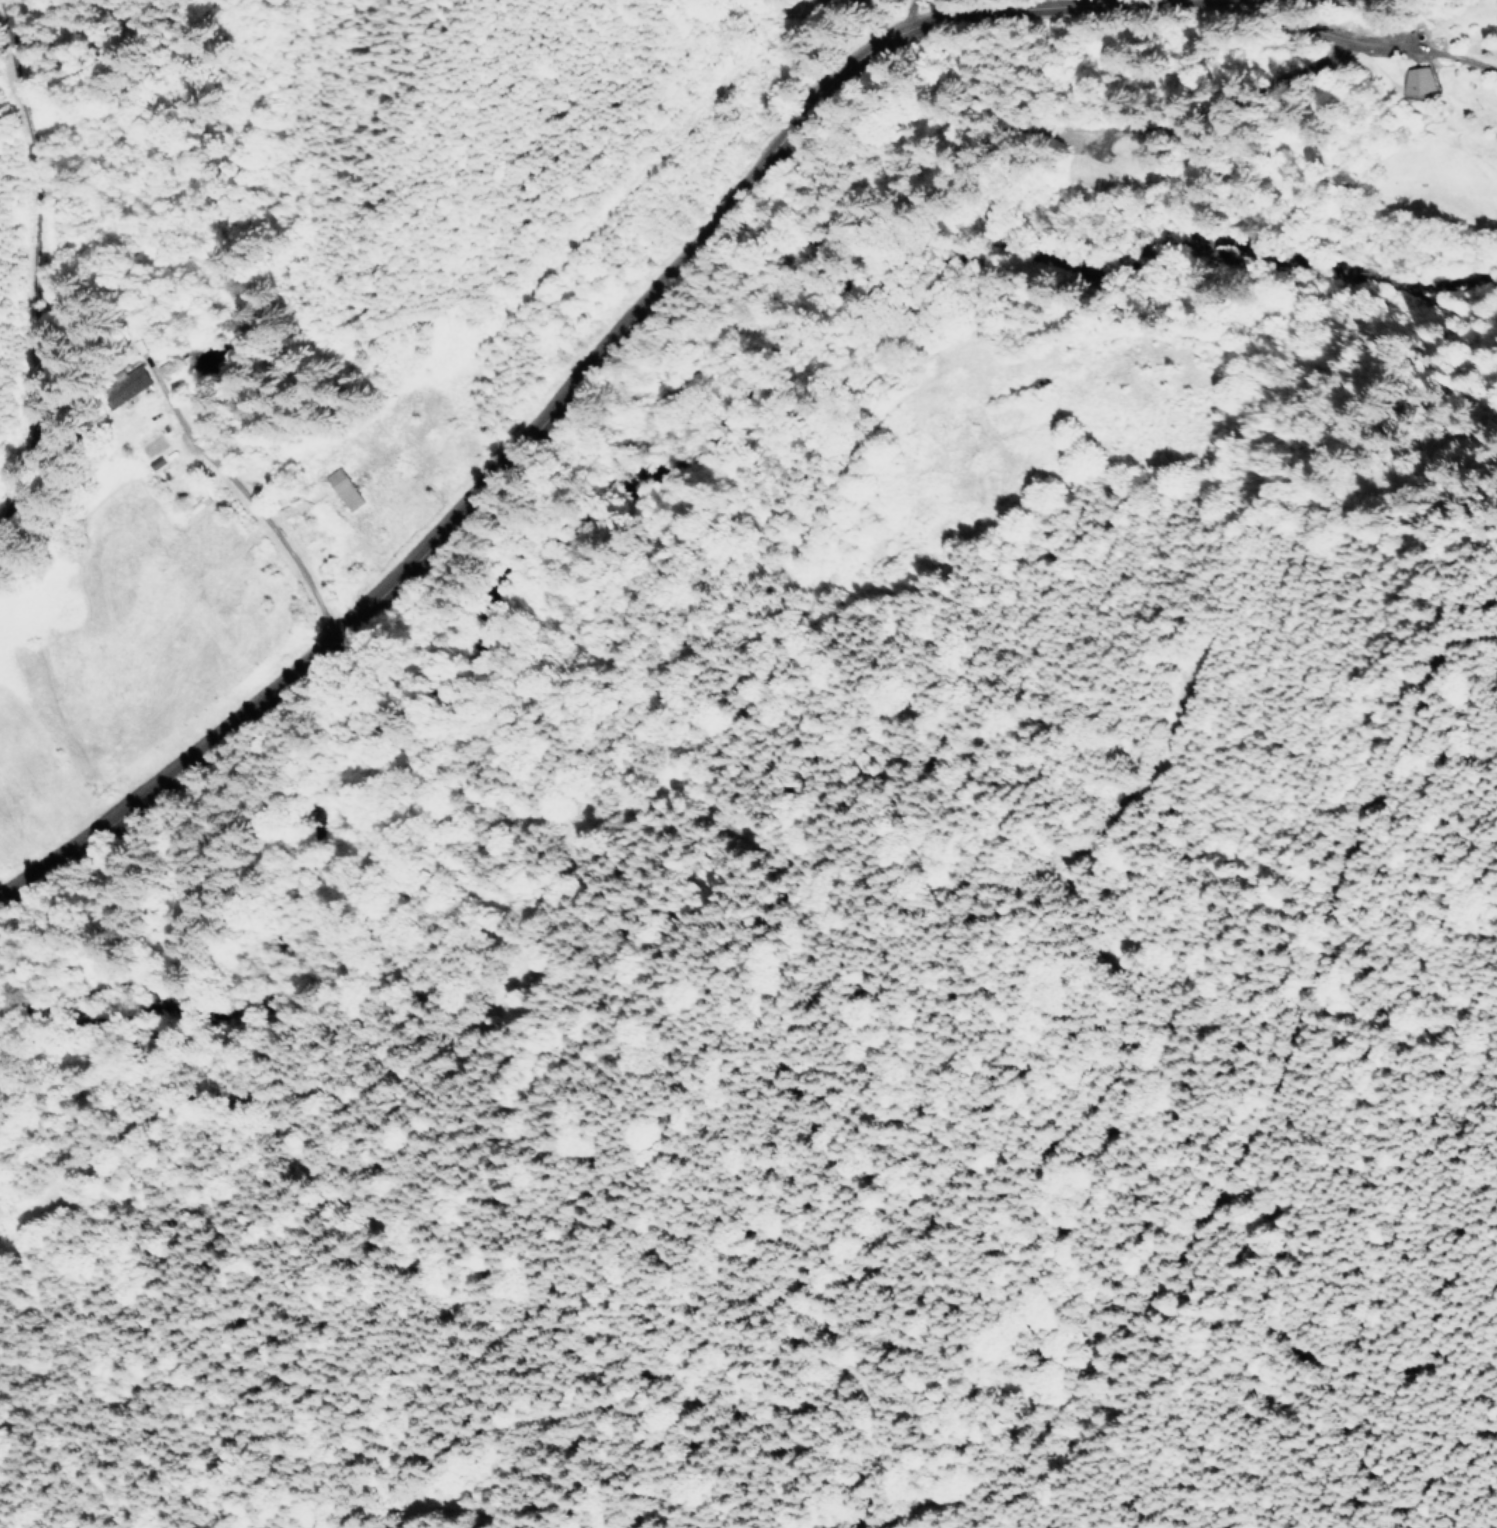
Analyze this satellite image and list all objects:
road: (1388, 45)
road: (549, 414)
road: (257, 516)

